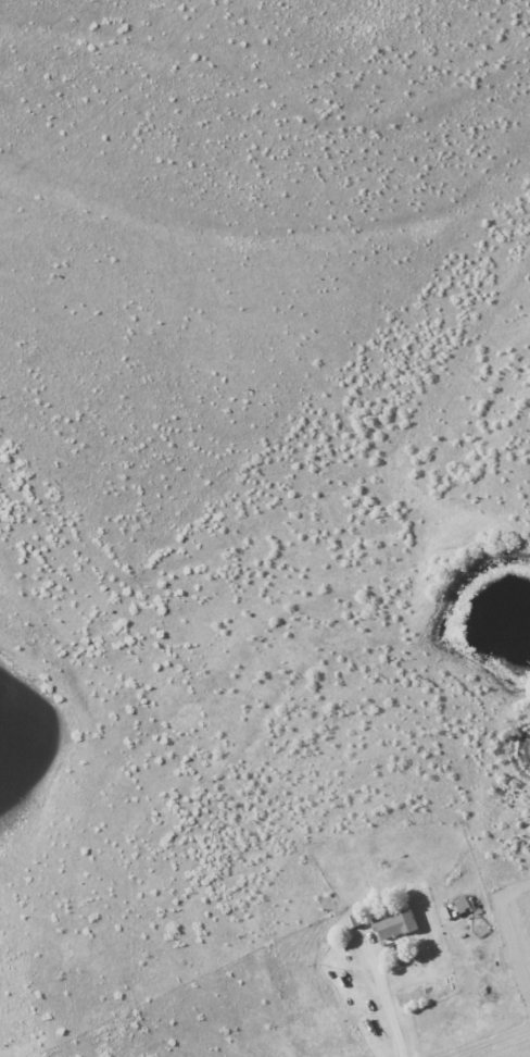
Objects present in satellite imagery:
road: (389, 1006)
road: (497, 1044)

